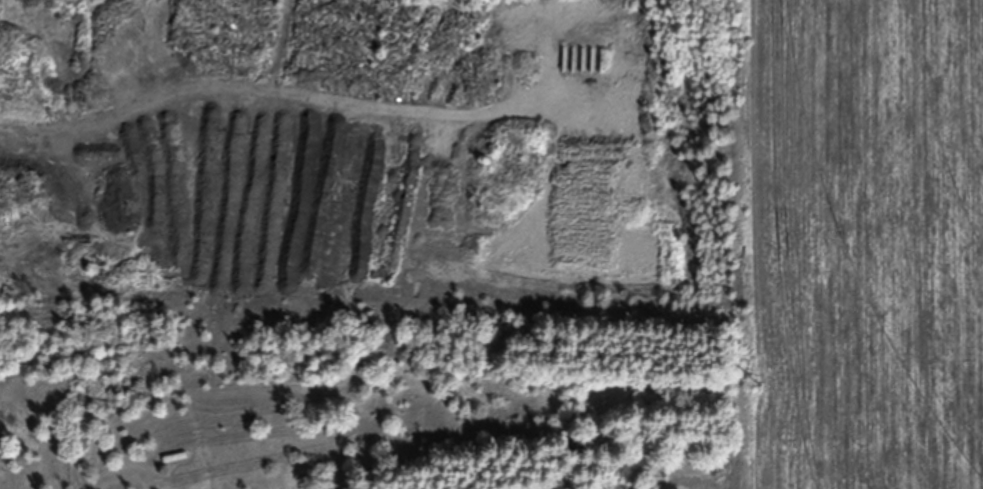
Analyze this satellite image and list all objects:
quarry: (365, 165)

